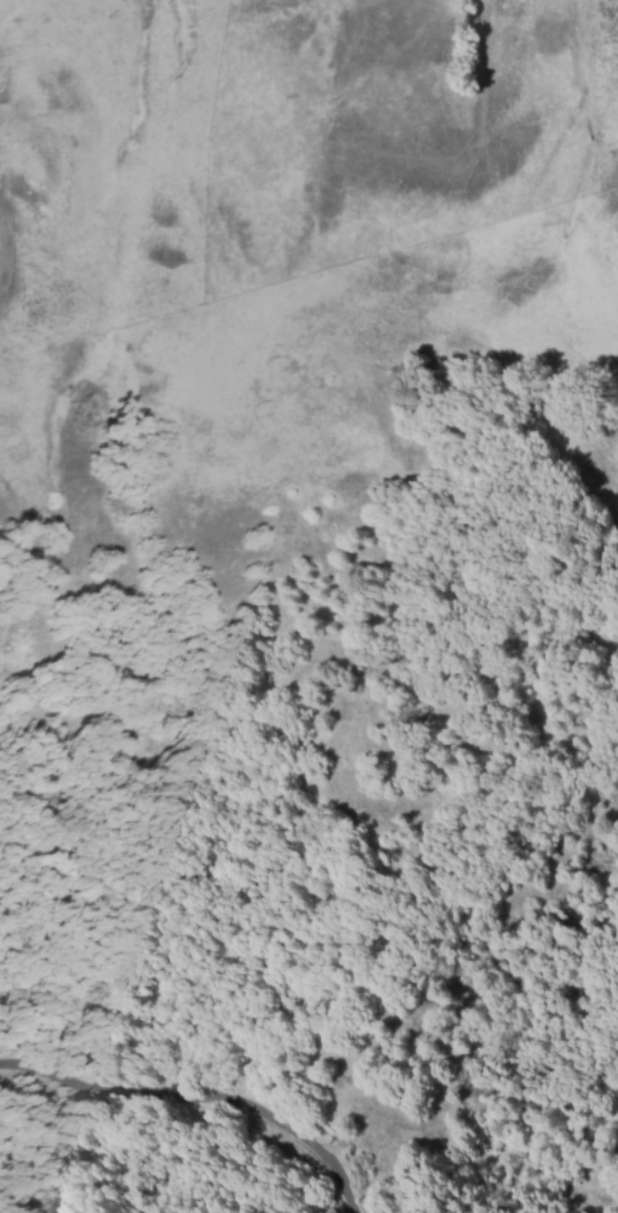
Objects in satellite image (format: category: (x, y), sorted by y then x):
road: (199, 1097)

